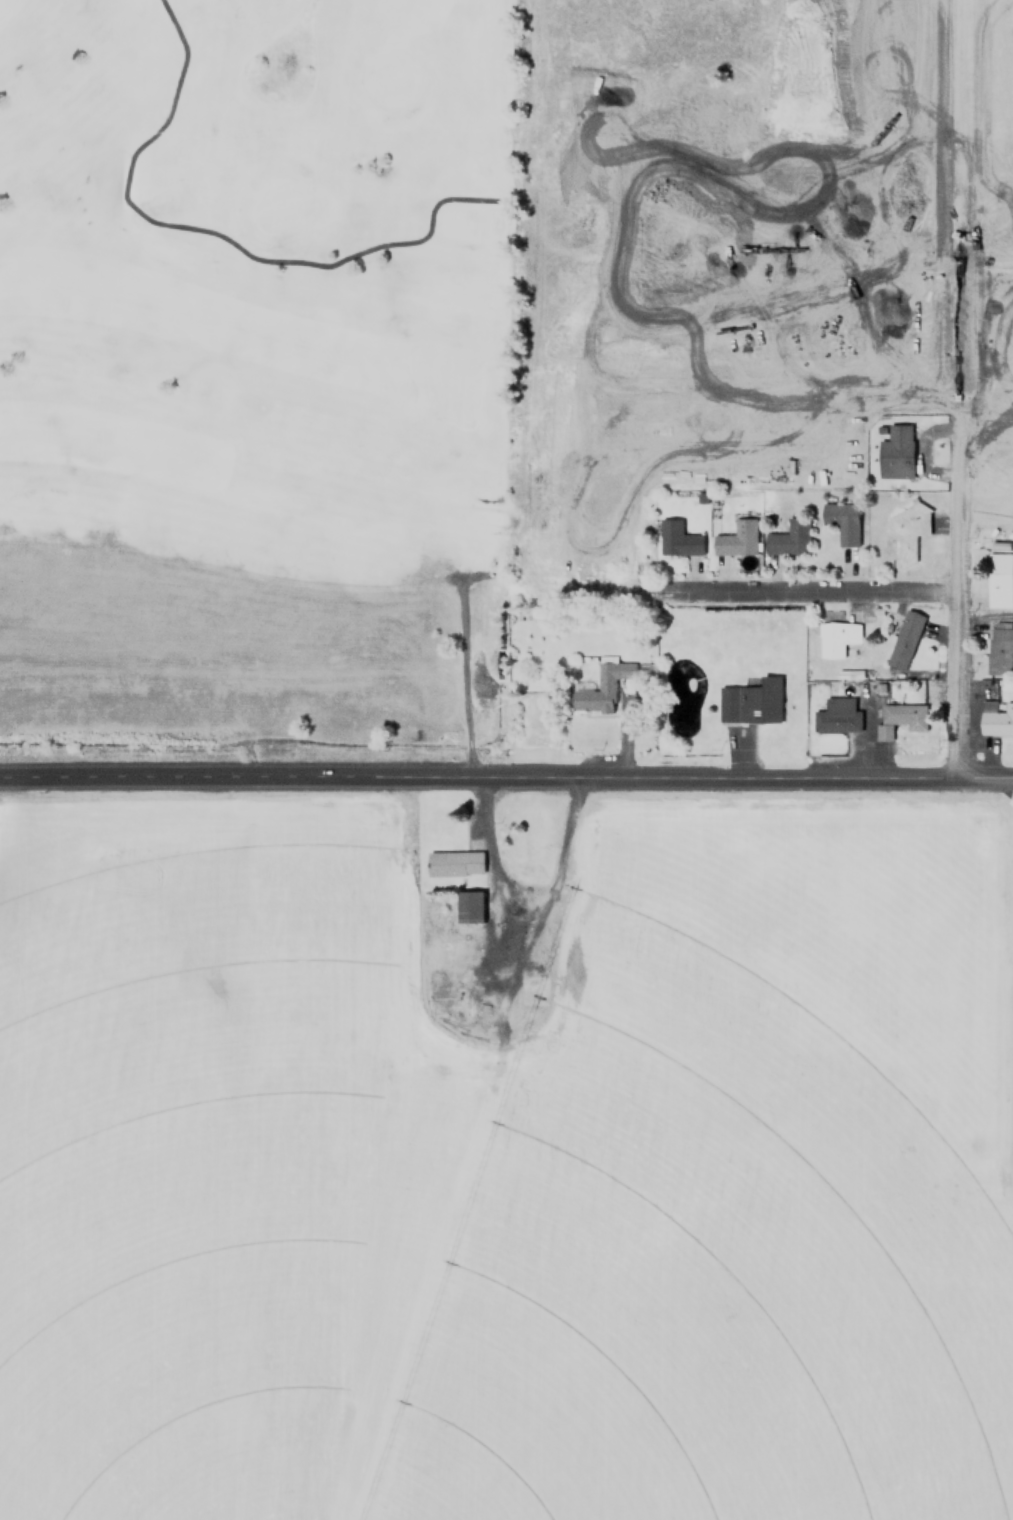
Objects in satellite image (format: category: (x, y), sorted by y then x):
building: (935, 189)
park: (258, 381)
building: (896, 451)
road: (959, 520)
building: (842, 521)
building: (907, 532)
building: (737, 538)
building: (789, 538)
building: (678, 539)
building: (999, 579)
road: (814, 592)
building: (836, 638)
building: (904, 640)
building: (1000, 647)
building: (604, 687)
building: (759, 700)
building: (837, 716)
building: (902, 717)
building: (996, 717)
road: (481, 780)
road: (987, 780)
building: (454, 863)
crop: (756, 898)
building: (469, 906)
crop: (467, 1201)

